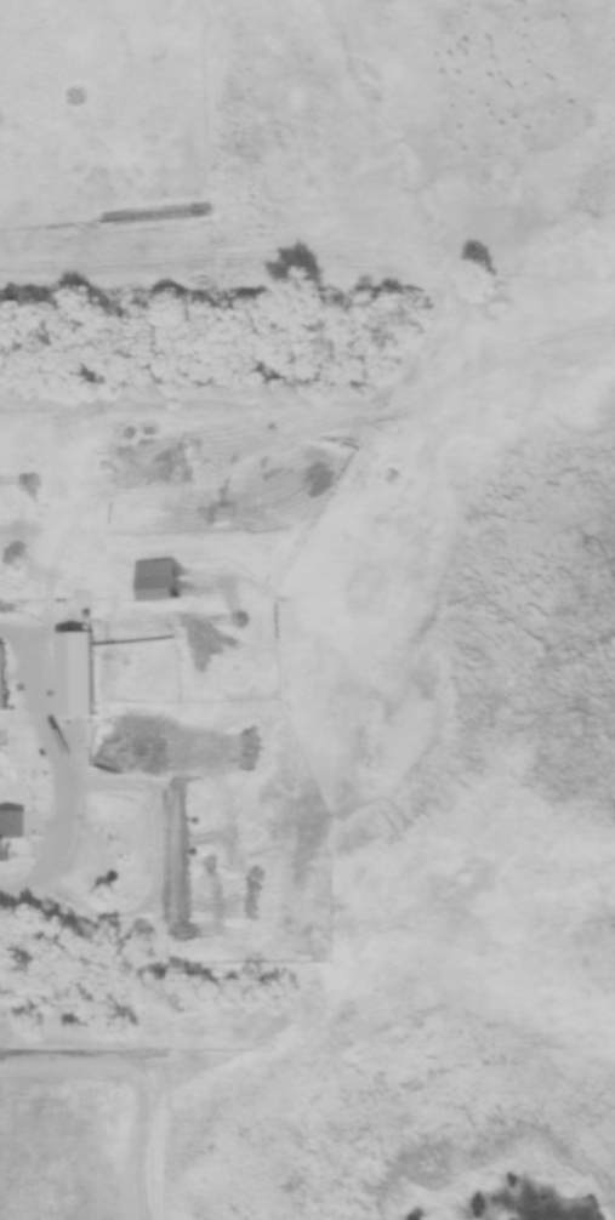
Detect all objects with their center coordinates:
building: (156, 582)
building: (74, 674)
building: (2, 678)
road: (63, 765)
building: (10, 832)

